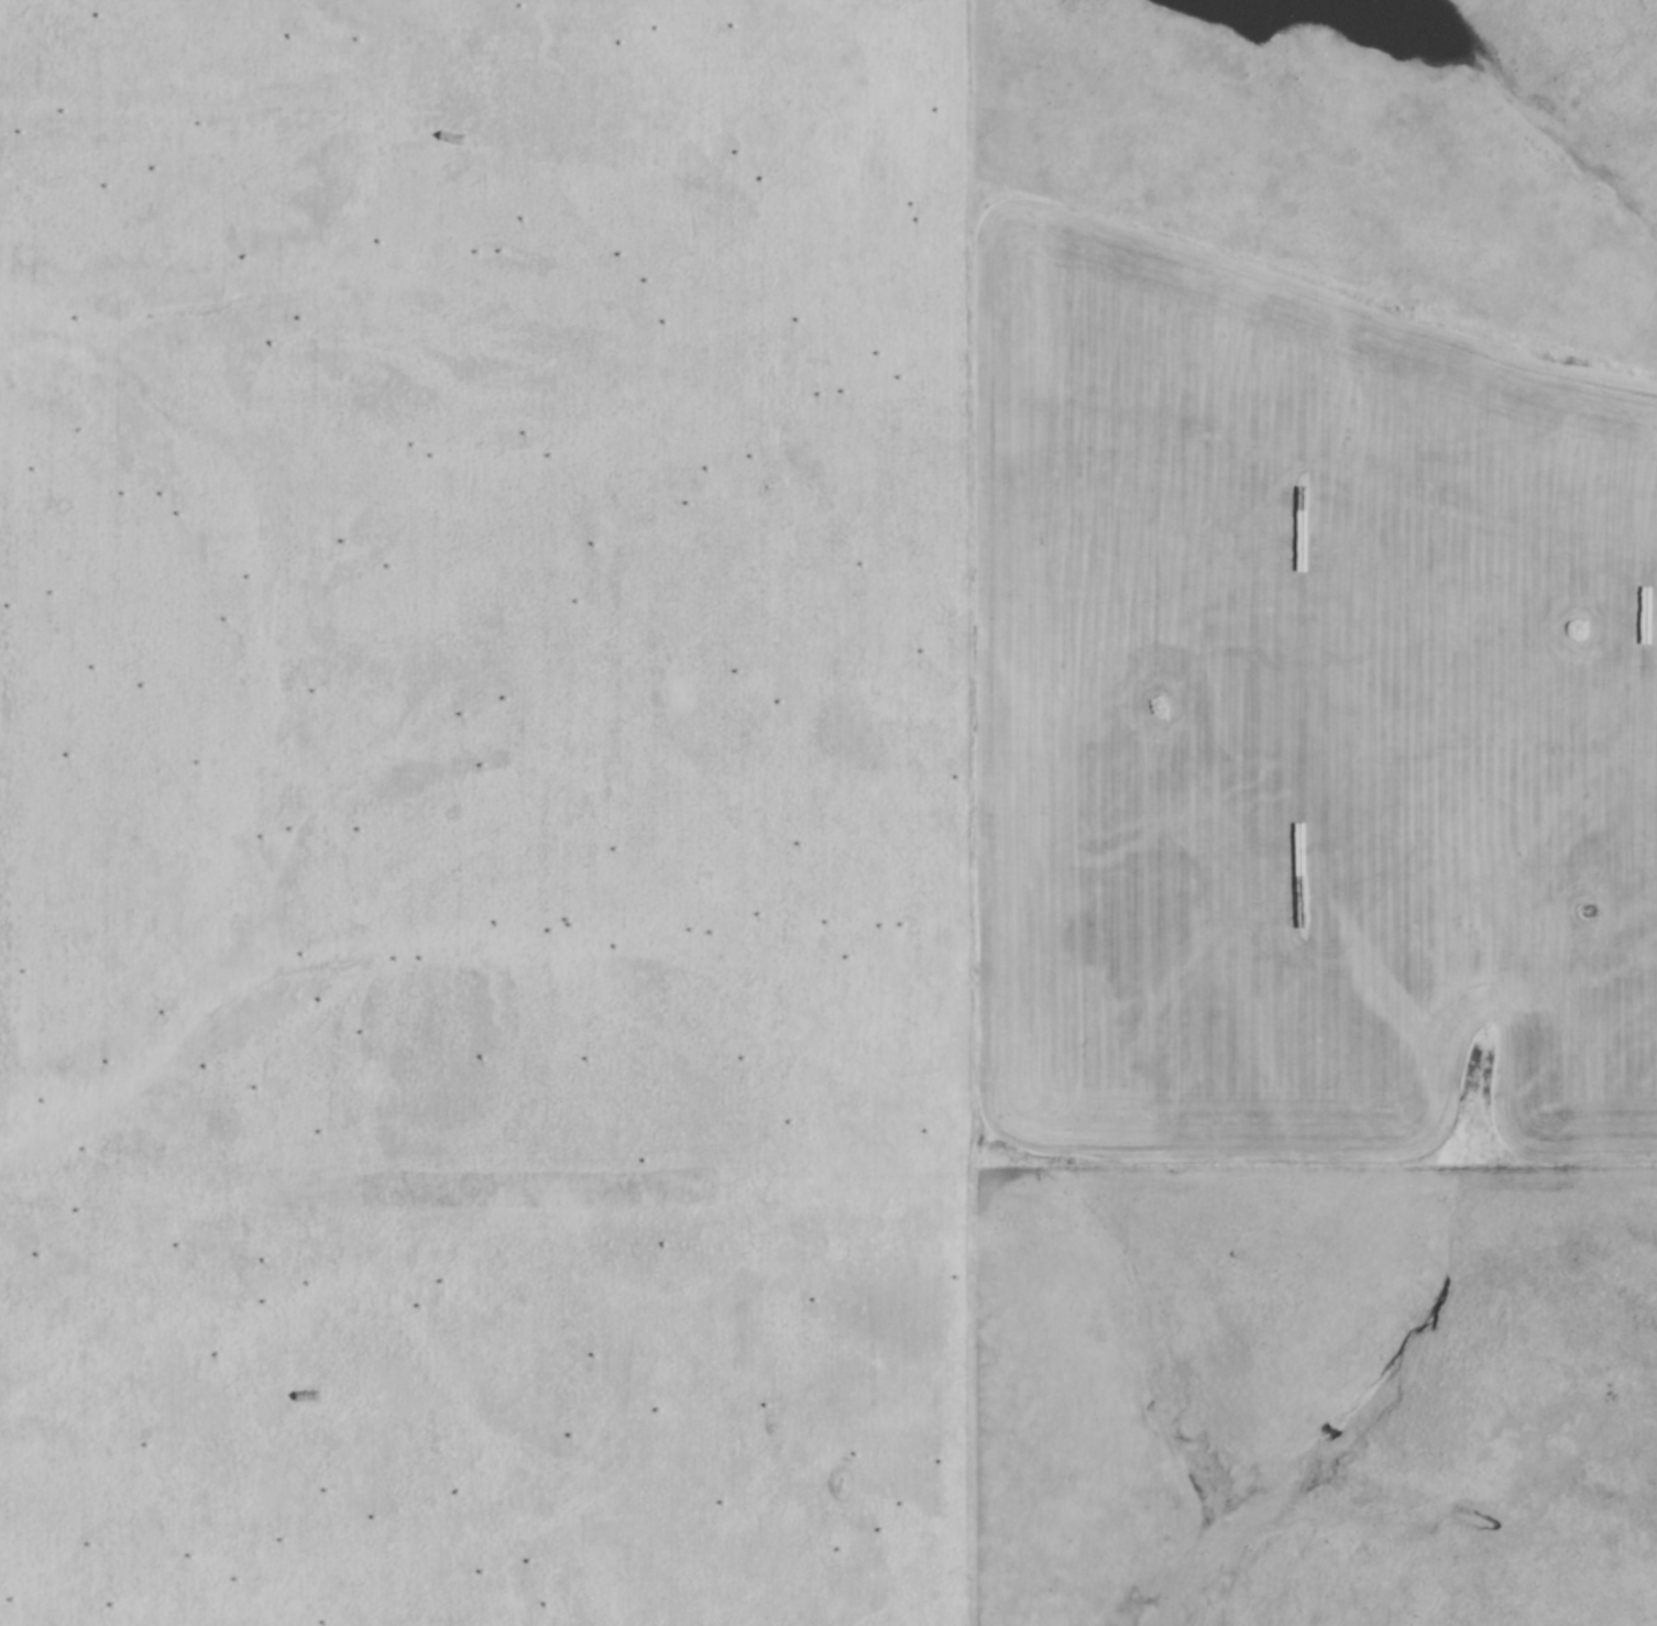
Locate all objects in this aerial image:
building: (761, 1274)

